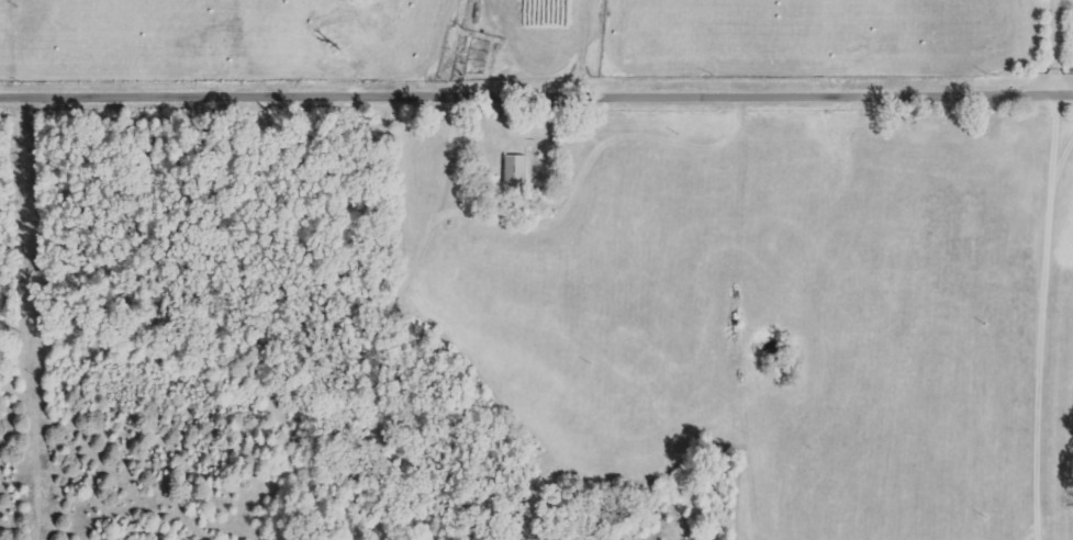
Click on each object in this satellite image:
road: (1050, 48)
road: (536, 94)
building: (514, 169)
road: (1041, 317)

